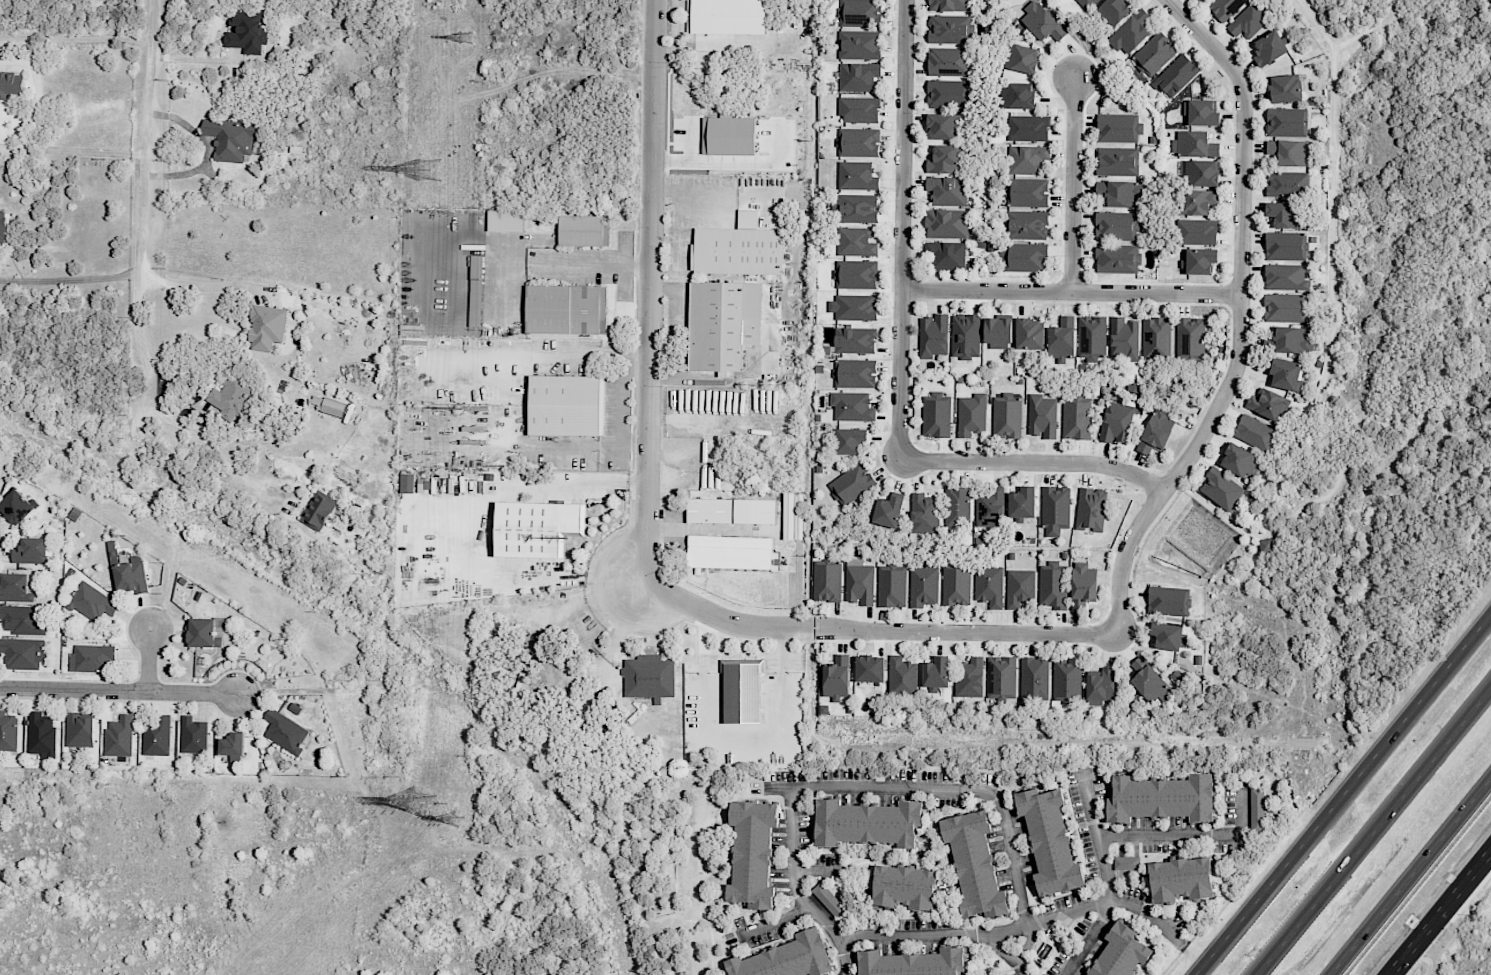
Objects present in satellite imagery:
building: (1202, 0)
building: (1086, 3)
building: (950, 5)
building: (1224, 7)
building: (1114, 10)
building: (859, 13)
building: (725, 16)
building: (1041, 22)
building: (1247, 22)
building: (949, 29)
building: (245, 31)
building: (1131, 32)
power tower: (470, 36)
road: (76, 39)
building: (859, 44)
building: (1269, 48)
building: (1154, 54)
building: (1020, 58)
building: (948, 61)
building: (1176, 75)
building: (858, 76)
building: (10, 84)
building: (1285, 88)
building: (946, 93)
building: (1017, 95)
building: (859, 110)
building: (1201, 113)
building: (1286, 121)
building: (943, 126)
building: (1028, 128)
building: (1118, 128)
building: (728, 136)
building: (231, 138)
building: (858, 142)
building: (1194, 144)
road: (72, 150)
building: (1289, 152)
building: (944, 159)
building: (1026, 159)
building: (1117, 161)
power tower: (435, 172)
building: (1200, 173)
building: (856, 176)
building: (1287, 183)
road: (1072, 186)
building: (947, 190)
building: (1027, 192)
building: (1121, 193)
road: (678, 196)
building: (1198, 201)
road: (141, 205)
building: (857, 208)
building: (1284, 214)
building: (505, 220)
building: (946, 223)
building: (1027, 225)
building: (1116, 226)
building: (583, 230)
road: (900, 230)
building: (1196, 231)
building: (2, 233)
building: (855, 242)
building: (1286, 246)
building: (738, 248)
building: (946, 256)
building: (1025, 258)
building: (1117, 258)
building: (1200, 260)
road: (590, 264)
building: (855, 274)
building: (1285, 277)
road: (68, 280)
road: (192, 284)
building: (475, 291)
road: (646, 292)
road: (1068, 293)
building: (853, 307)
building: (1283, 307)
building: (565, 309)
road: (1238, 317)
building: (722, 324)
building: (266, 327)
building: (998, 333)
building: (1030, 334)
building: (933, 335)
building: (965, 336)
building: (1190, 336)
building: (1091, 337)
building: (1156, 338)
building: (1062, 339)
building: (1124, 339)
building: (854, 340)
building: (1292, 340)
road: (562, 351)
building: (855, 373)
building: (1285, 374)
building: (230, 396)
road: (617, 398)
building: (1269, 404)
building: (564, 405)
building: (852, 406)
building: (333, 407)
power tower: (461, 408)
building: (971, 414)
building: (936, 415)
building: (1042, 416)
building: (1007, 417)
building: (1076, 419)
building: (1116, 422)
building: (1156, 431)
building: (1254, 432)
building: (849, 440)
road: (557, 446)
road: (216, 449)
road: (1036, 460)
building: (1238, 460)
building: (406, 483)
building: (426, 483)
building: (852, 483)
building: (1221, 489)
building: (1022, 503)
building: (956, 506)
building: (17, 507)
building: (989, 507)
building: (1090, 509)
building: (318, 510)
building: (1055, 510)
building: (731, 511)
building: (888, 511)
building: (923, 513)
building: (792, 515)
building: (537, 528)
building: (31, 551)
building: (730, 553)
building: (131, 575)
building: (827, 582)
building: (859, 582)
building: (1083, 584)
building: (923, 585)
building: (891, 586)
building: (956, 586)
building: (989, 586)
building: (1051, 586)
building: (15, 587)
building: (1019, 587)
building: (1168, 601)
building: (91, 602)
building: (21, 620)
road: (874, 630)
building: (203, 633)
building: (1168, 635)
road: (783, 648)
building: (22, 652)
building: (91, 658)
road: (153, 659)
building: (869, 668)
building: (935, 673)
building: (902, 676)
building: (1001, 676)
building: (649, 677)
building: (968, 677)
building: (836, 678)
building: (1034, 678)
building: (1067, 680)
building: (1150, 682)
building: (1101, 687)
building: (742, 689)
road: (120, 692)
building: (80, 729)
building: (7, 731)
building: (285, 731)
building: (41, 735)
building: (156, 735)
building: (193, 735)
building: (119, 736)
building: (233, 747)
road: (956, 792)
road: (1342, 793)
building: (1161, 798)
power tower: (403, 804)
building: (1257, 810)
power tower: (459, 816)
building: (867, 823)
road: (1374, 832)
road: (1187, 835)
building: (1049, 841)
building: (752, 853)
building: (1126, 863)
building: (974, 864)
road: (1410, 875)
building: (1180, 879)
building: (903, 887)
building: (828, 899)
road: (1441, 914)
road: (777, 924)
road: (1157, 927)
road: (1002, 930)
road: (941, 939)
road: (1097, 939)
road: (1028, 949)
building: (1120, 952)
building: (786, 958)
building: (912, 963)
building: (1009, 974)

